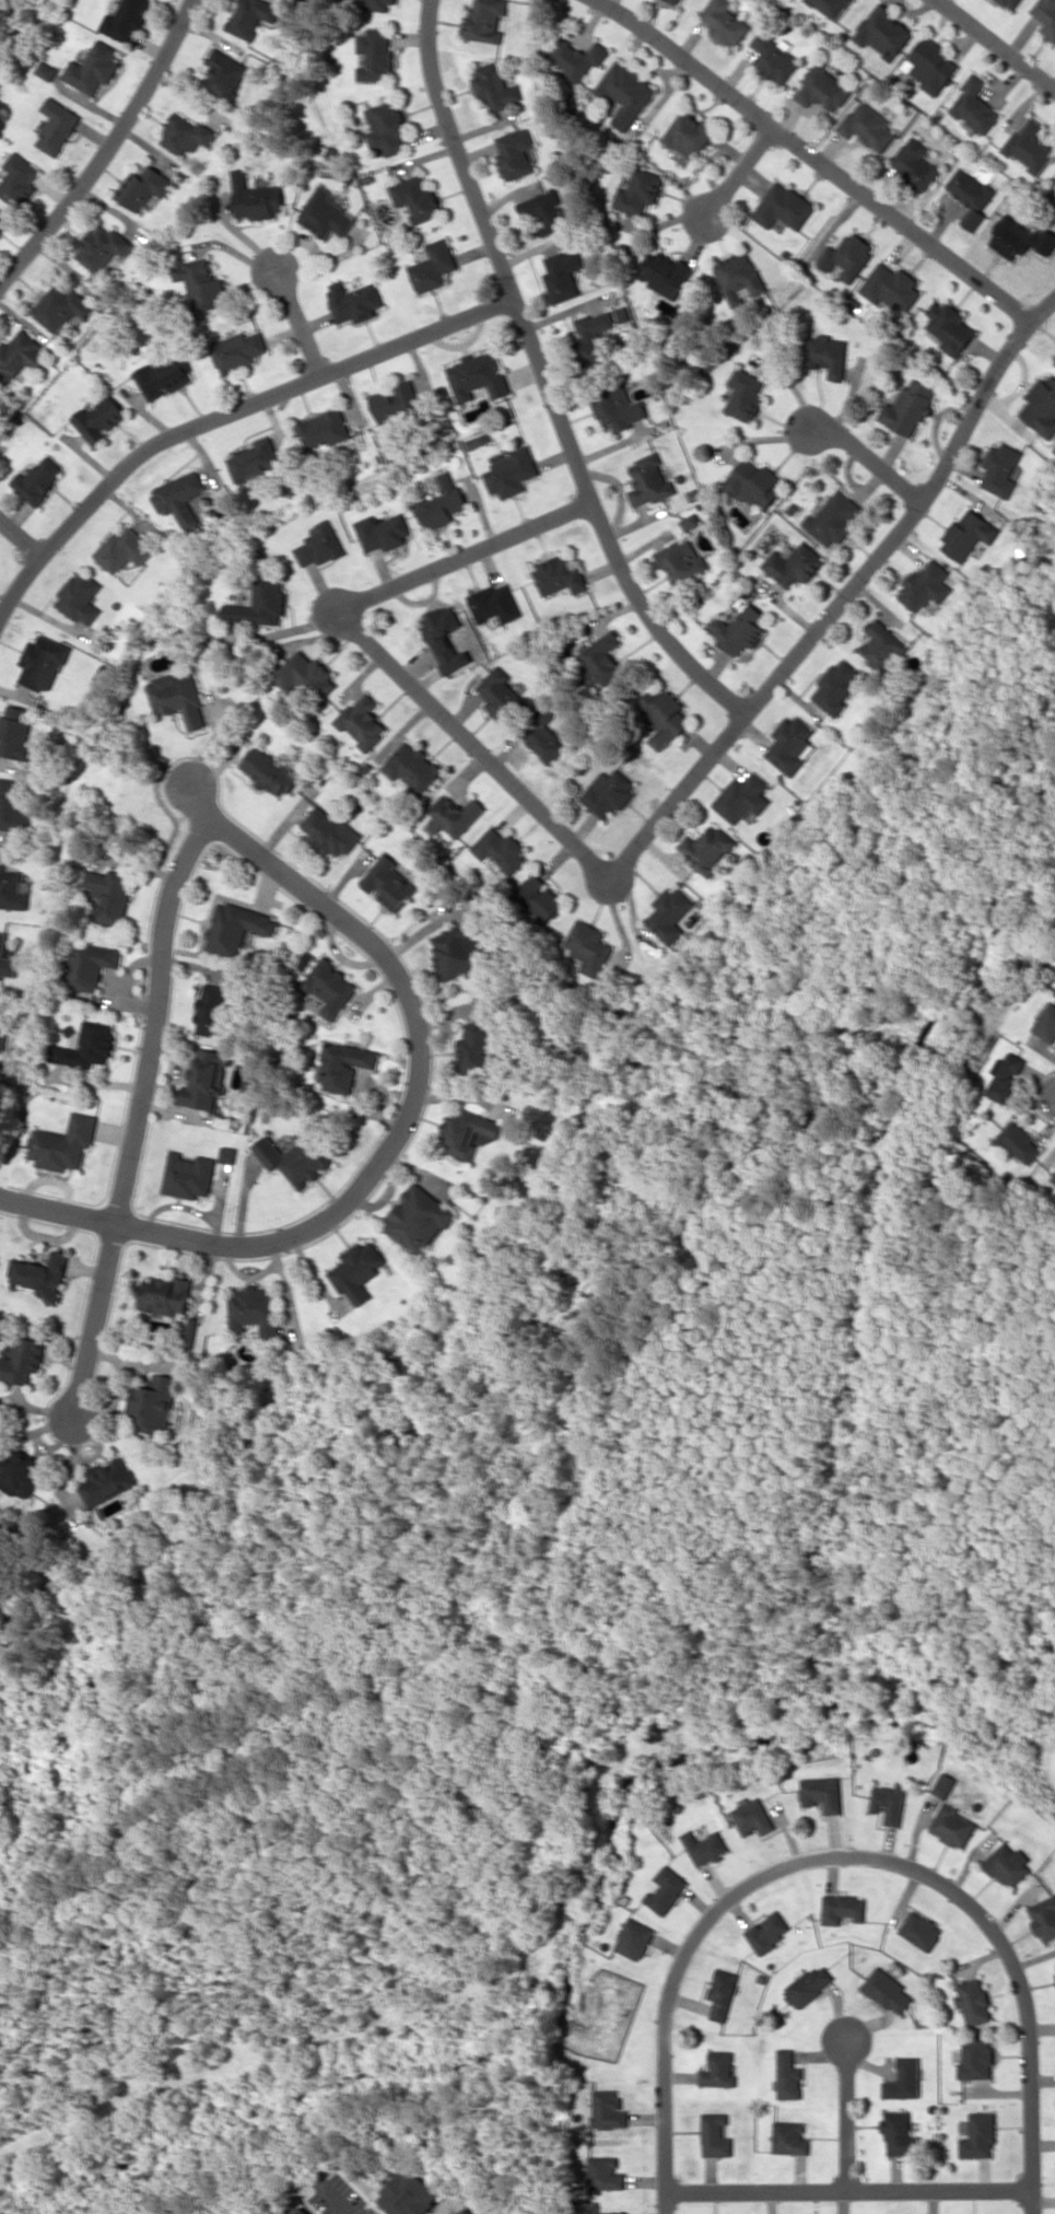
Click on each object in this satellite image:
building: (676, 1)
building: (1011, 3)
building: (377, 4)
building: (831, 8)
river: (5, 10)
building: (1045, 15)
building: (249, 16)
building: (126, 20)
building: (484, 20)
building: (725, 22)
building: (883, 31)
road: (997, 43)
building: (374, 55)
building: (577, 57)
building: (775, 58)
building: (930, 65)
building: (93, 68)
building: (47, 69)
building: (223, 74)
building: (495, 86)
building: (823, 88)
building: (626, 92)
building: (976, 105)
building: (57, 126)
building: (868, 126)
building: (387, 127)
building: (689, 132)
building: (184, 133)
building: (1030, 145)
road: (457, 151)
road: (105, 152)
building: (516, 152)
road: (820, 155)
building: (916, 164)
road: (741, 168)
building: (19, 178)
building: (142, 187)
building: (638, 191)
building: (971, 195)
building: (415, 197)
building: (254, 198)
building: (784, 207)
building: (544, 210)
building: (324, 214)
building: (3, 220)
building: (1020, 237)
building: (101, 246)
building: (847, 256)
building: (433, 266)
building: (664, 272)
building: (562, 275)
building: (738, 276)
building: (199, 284)
building: (891, 287)
building: (352, 301)
building: (60, 306)
road: (1043, 307)
road: (301, 323)
building: (949, 327)
building: (596, 333)
building: (237, 349)
building: (20, 354)
building: (829, 354)
building: (1054, 356)
building: (164, 376)
building: (476, 376)
building: (746, 395)
building: (395, 400)
building: (619, 407)
building: (909, 407)
building: (1041, 407)
road: (226, 415)
building: (99, 418)
building: (324, 429)
building: (472, 442)
building: (255, 458)
road: (869, 458)
building: (1003, 468)
building: (511, 471)
building: (39, 479)
building: (649, 480)
building: (753, 483)
building: (180, 497)
building: (441, 502)
building: (833, 518)
building: (690, 521)
road: (603, 523)
road: (902, 525)
building: (382, 531)
road: (22, 535)
building: (969, 535)
building: (319, 545)
building: (125, 549)
building: (682, 560)
building: (794, 563)
building: (561, 576)
building: (926, 585)
building: (81, 597)
building: (495, 603)
building: (259, 605)
building: (740, 627)
building: (444, 637)
building: (882, 643)
building: (602, 655)
building: (43, 662)
building: (304, 675)
building: (836, 687)
building: (500, 694)
building: (177, 697)
building: (665, 718)
building: (363, 721)
road: (449, 721)
building: (15, 733)
building: (543, 735)
building: (792, 744)
building: (413, 767)
building: (271, 771)
building: (608, 793)
building: (743, 797)
building: (13, 806)
building: (453, 815)
building: (328, 831)
building: (706, 848)
building: (501, 850)
building: (387, 882)
building: (13, 888)
building: (108, 895)
building: (539, 897)
building: (670, 913)
building: (236, 928)
building: (588, 946)
building: (458, 948)
building: (7, 959)
building: (91, 965)
building: (329, 988)
building: (213, 1010)
building: (0, 1011)
building: (1046, 1023)
building: (2, 1041)
building: (85, 1046)
building: (480, 1049)
building: (342, 1064)
building: (1005, 1075)
building: (207, 1079)
building: (248, 1083)
road: (141, 1115)
road: (401, 1131)
building: (467, 1132)
building: (1019, 1142)
building: (62, 1143)
building: (228, 1154)
building: (293, 1158)
building: (188, 1175)
building: (1054, 1178)
building: (419, 1219)
building: (359, 1270)
building: (38, 1274)
building: (165, 1294)
building: (256, 1310)
building: (191, 1331)
building: (23, 1360)
building: (154, 1403)
building: (20, 1471)
building: (108, 1480)
building: (943, 1785)
building: (822, 1793)
building: (889, 1803)
building: (752, 1817)
building: (952, 1825)
building: (705, 1846)
road: (844, 1855)
building: (1008, 1865)
building: (666, 1889)
building: (842, 1908)
building: (1043, 1918)
building: (921, 1930)
building: (767, 1931)
building: (633, 1938)
building: (809, 1984)
building: (887, 1990)
building: (722, 1992)
building: (972, 2001)
building: (975, 2059)
building: (718, 2070)
building: (787, 2075)
building: (904, 2079)
building: (607, 2109)
road: (846, 2114)
building: (899, 2134)
building: (715, 2135)
building: (976, 2135)
building: (789, 2137)
building: (605, 2174)
road: (846, 2190)
building: (408, 2194)
road: (331, 2201)
building: (298, 2210)
building: (465, 2211)
building: (612, 2213)

